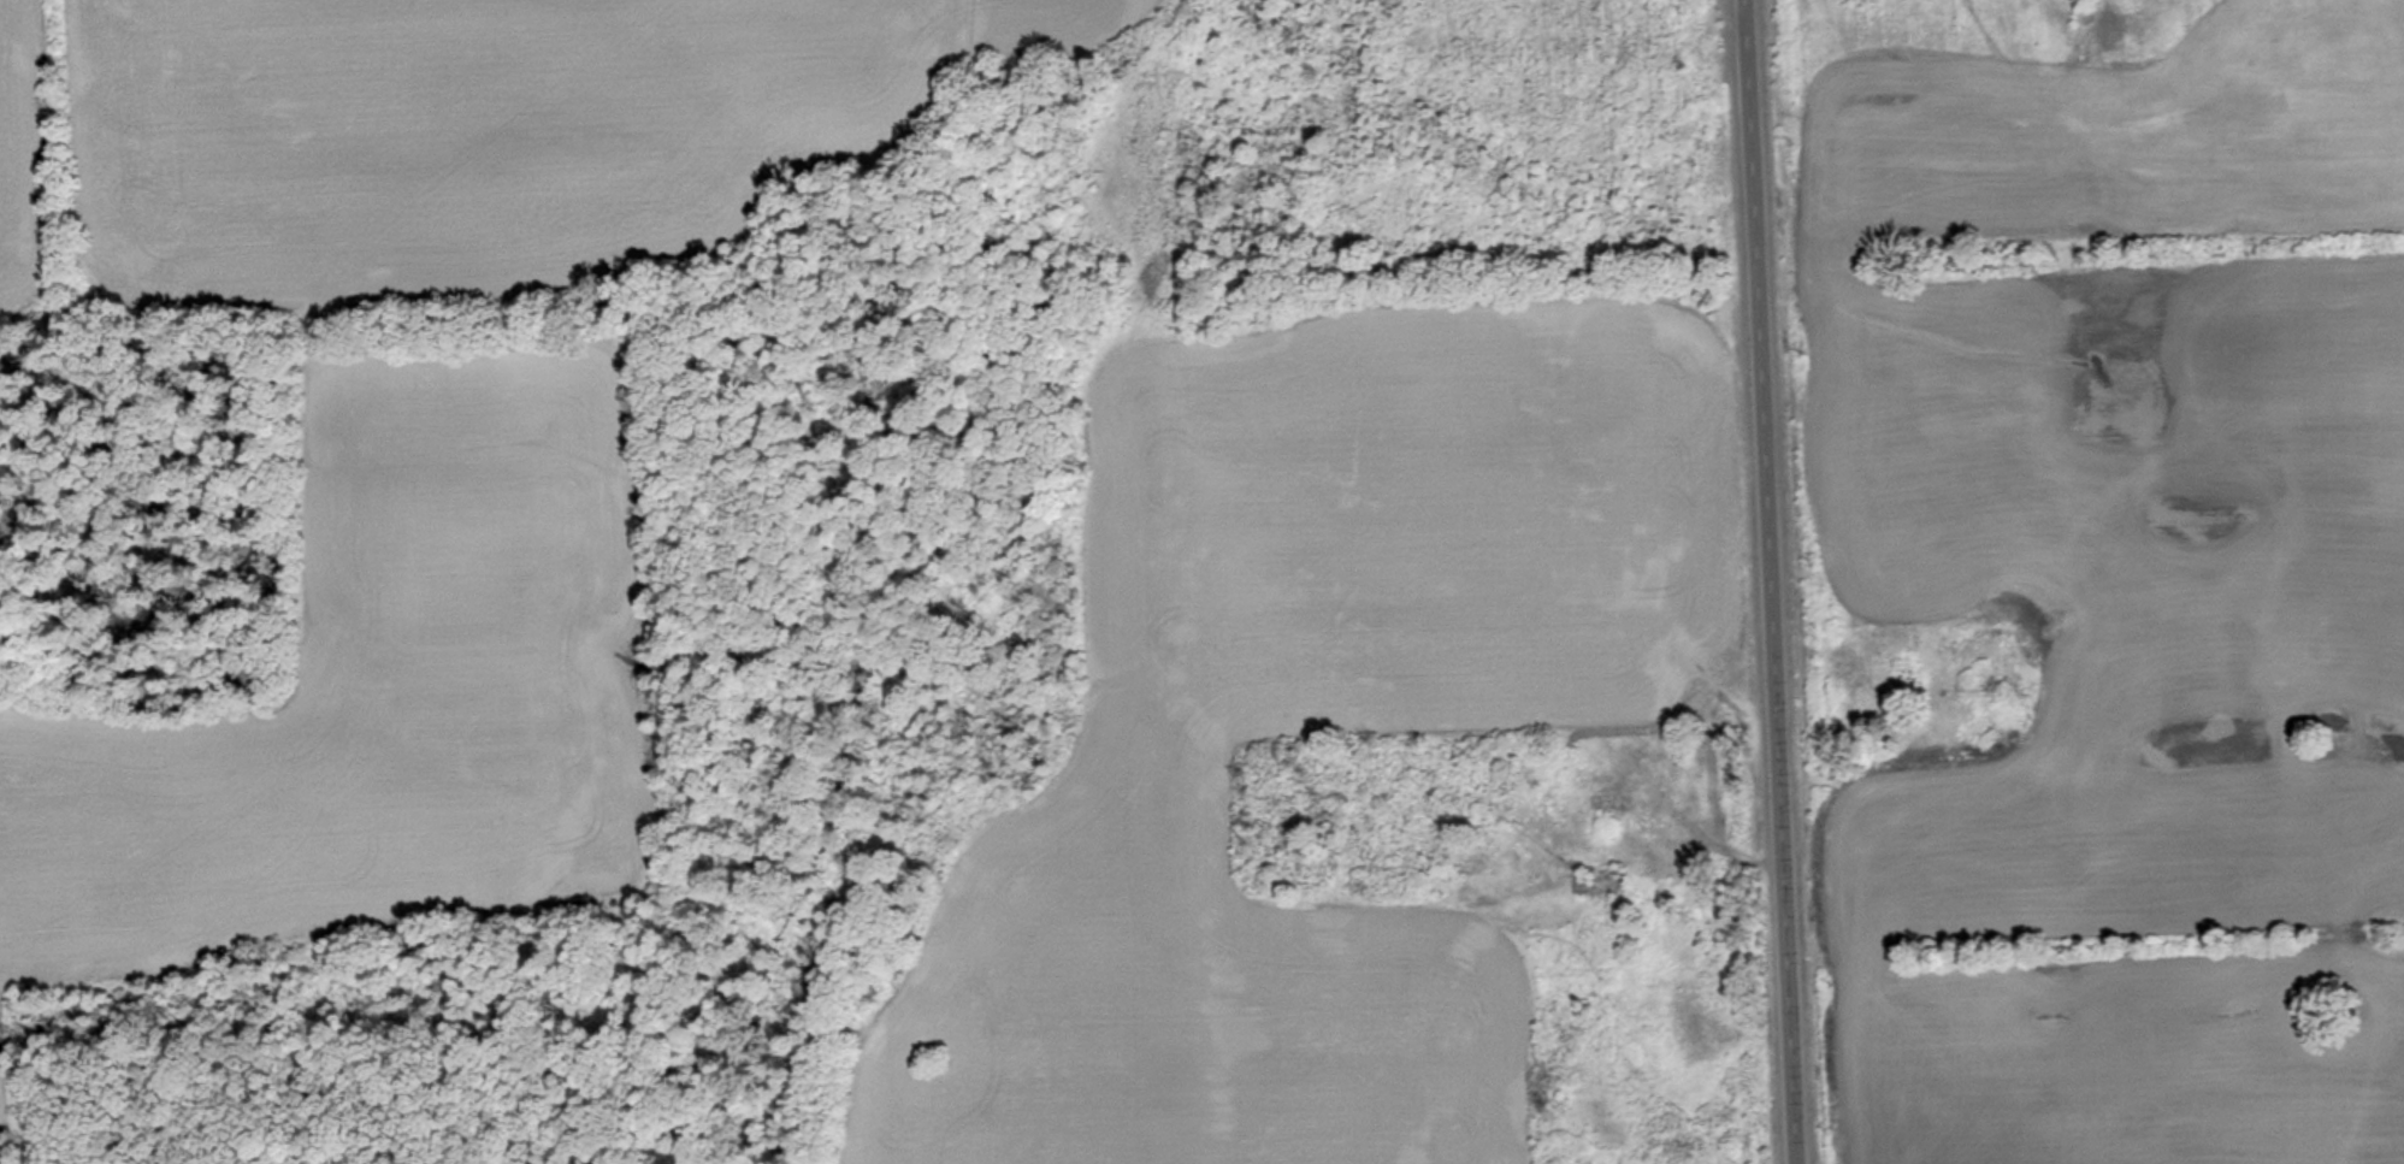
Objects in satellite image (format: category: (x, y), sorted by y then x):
road: (1770, 581)

